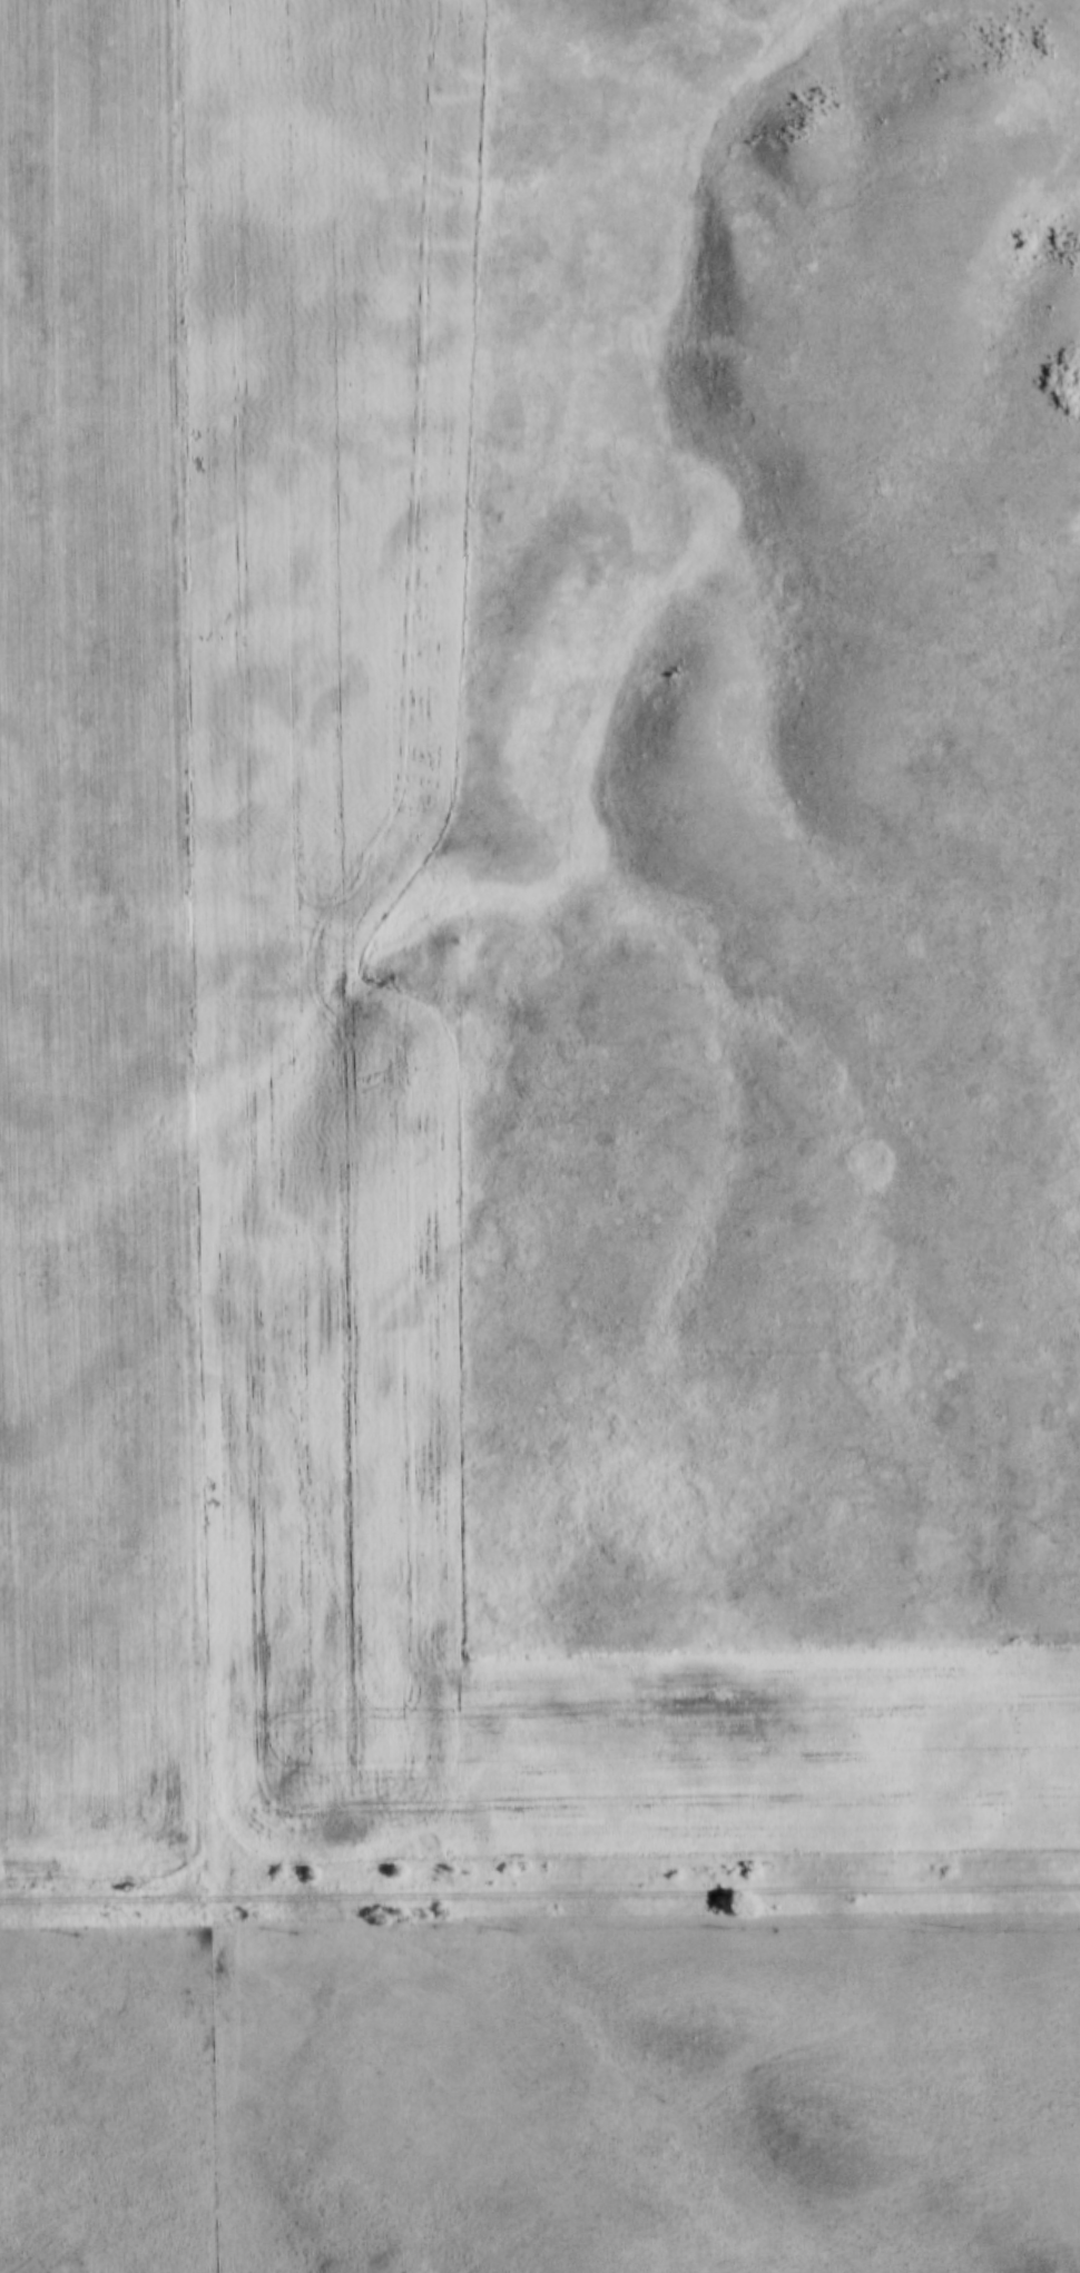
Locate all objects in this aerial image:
road: (539, 1893)

